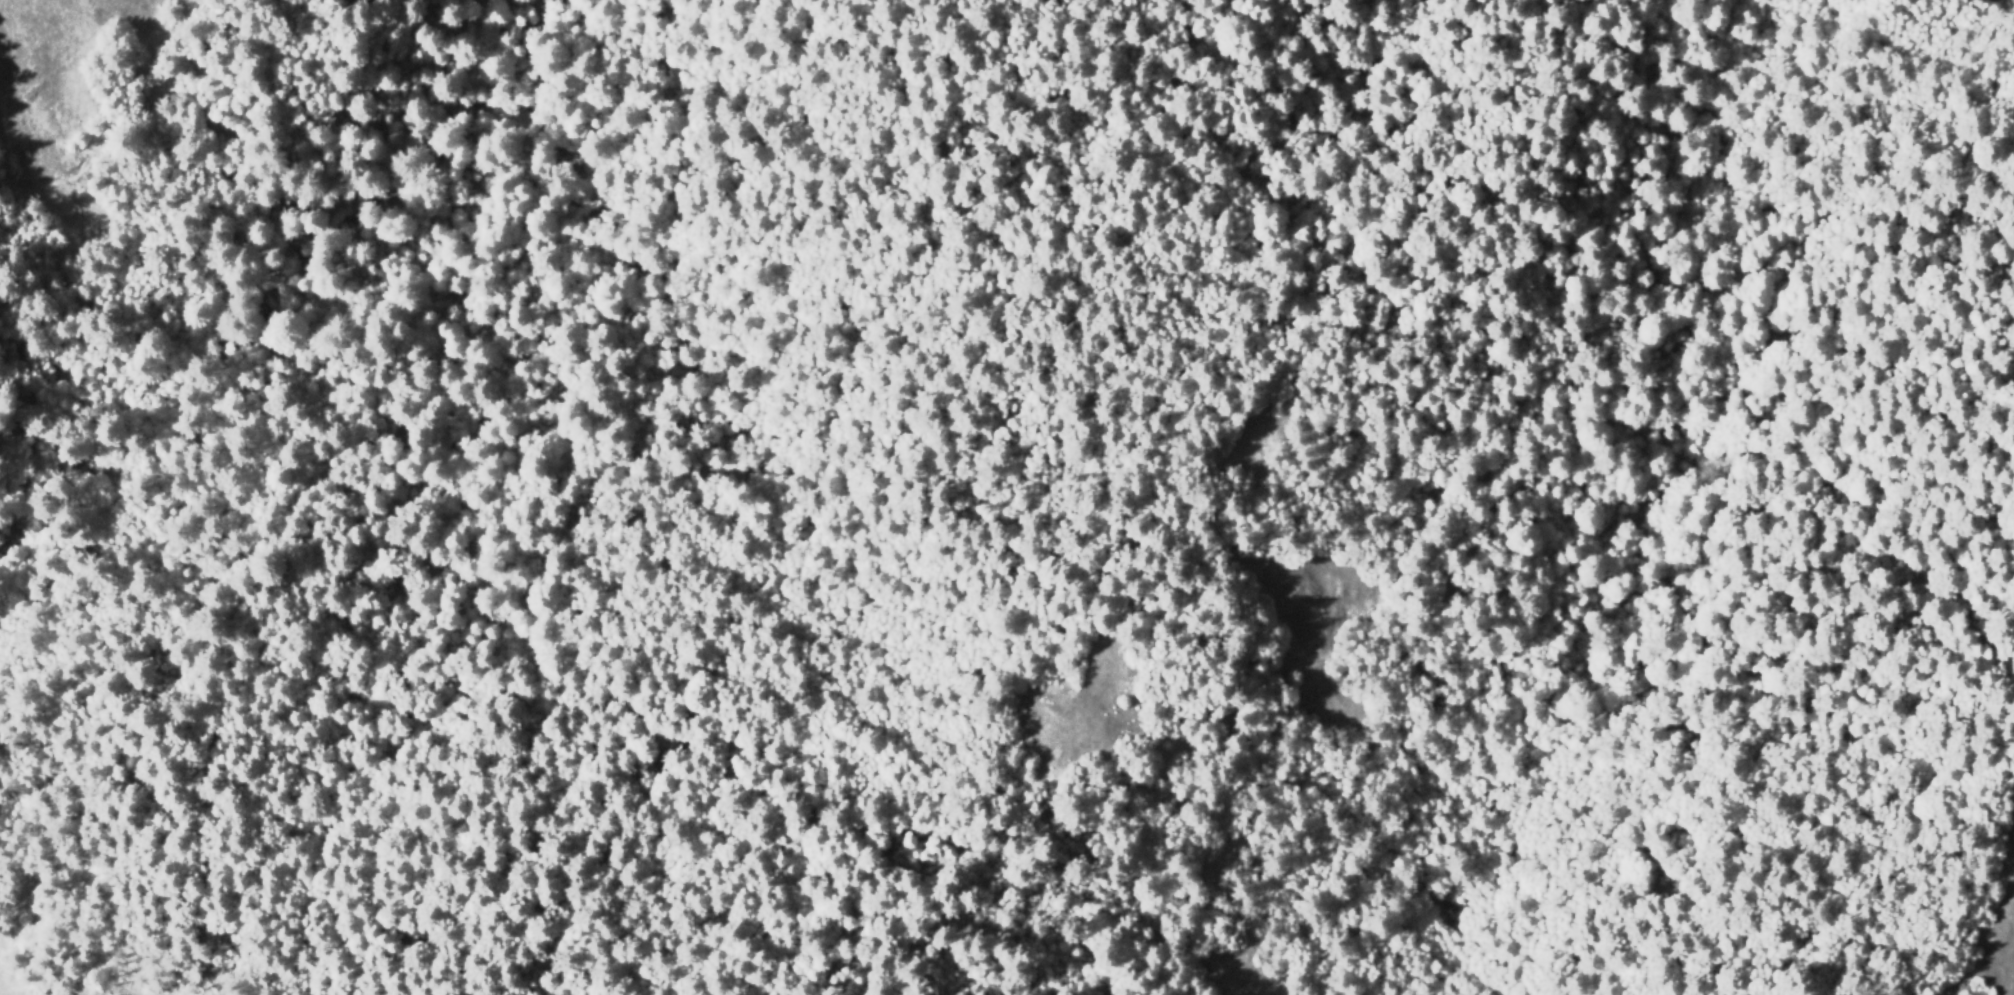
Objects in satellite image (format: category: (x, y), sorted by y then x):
road: (1967, 945)

